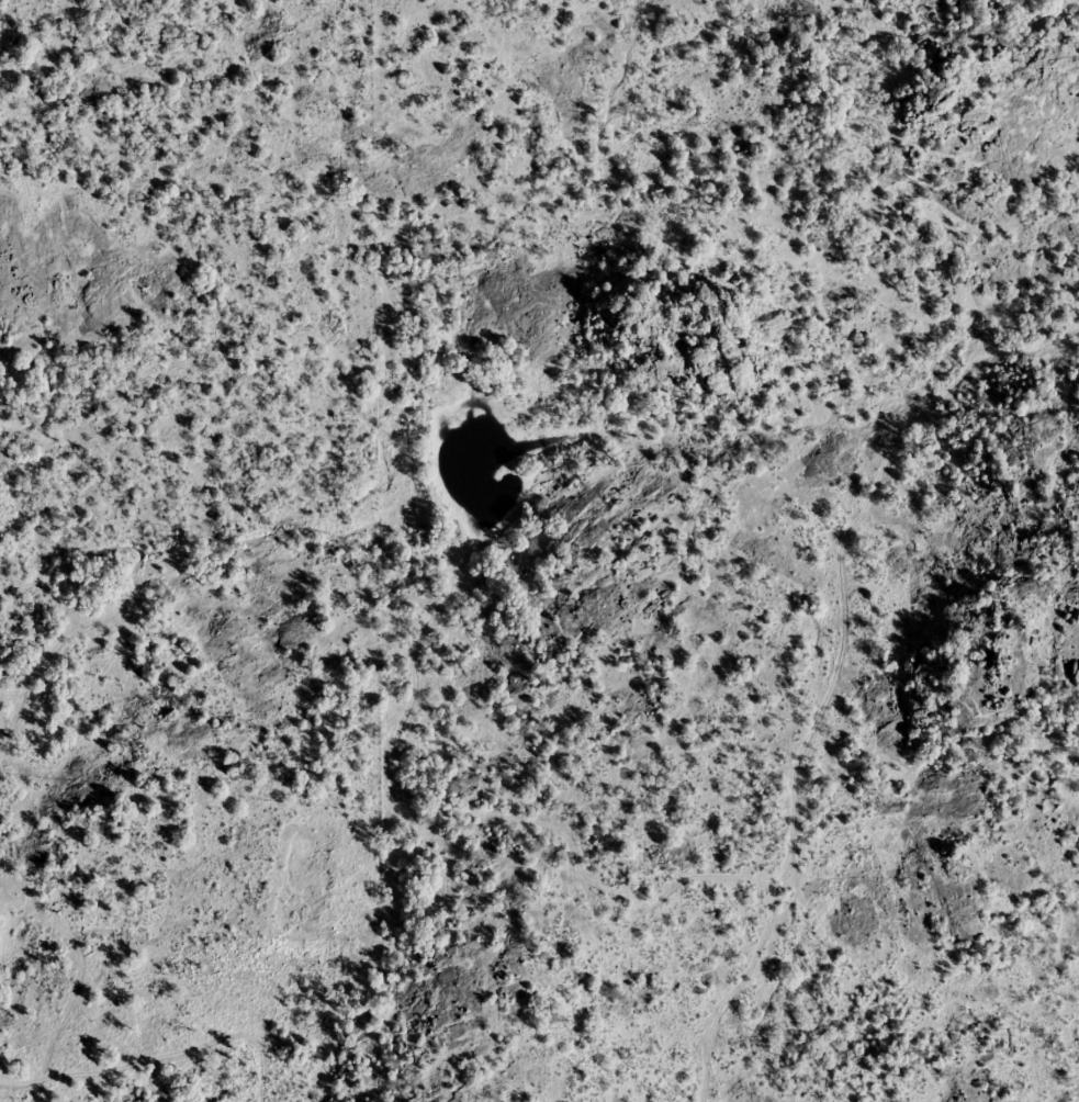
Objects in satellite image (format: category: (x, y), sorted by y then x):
road: (59, 645)
road: (74, 983)

